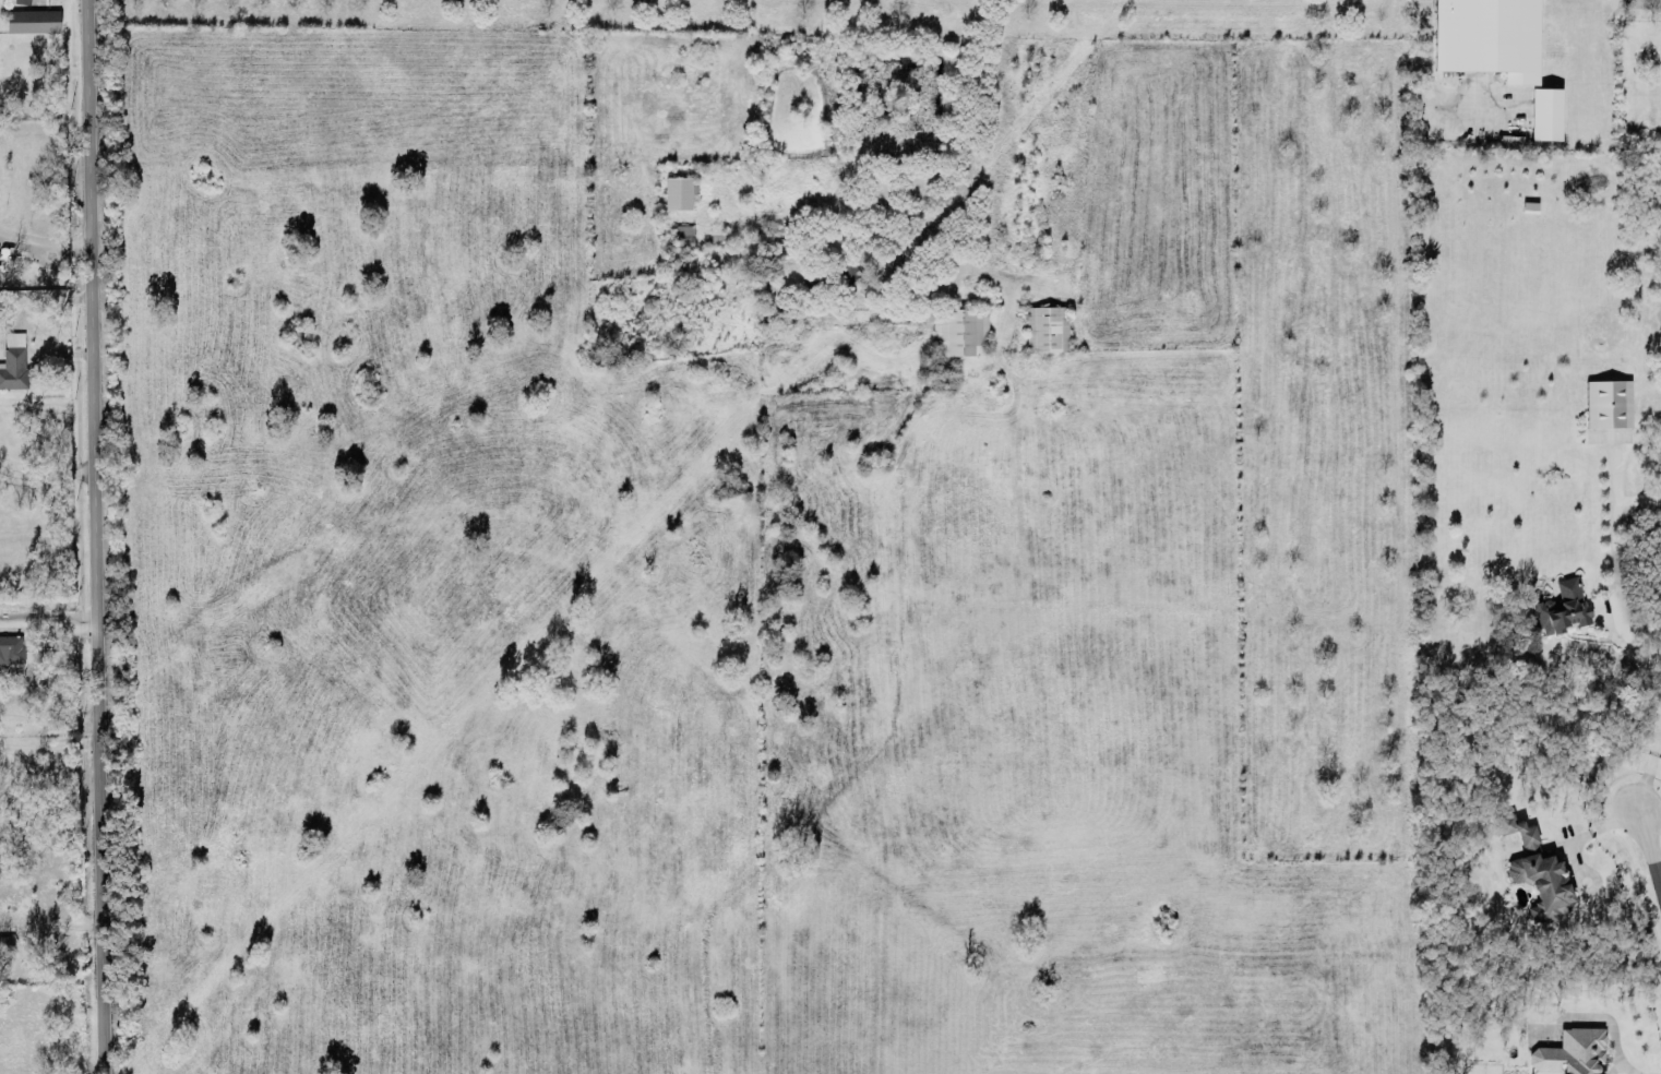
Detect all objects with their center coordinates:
building: (22, 0)
road: (1653, 0)
building: (32, 19)
building: (1487, 38)
road: (1426, 96)
building: (1545, 114)
road: (972, 138)
building: (678, 190)
road: (908, 223)
building: (682, 235)
road: (44, 239)
road: (46, 293)
building: (4, 314)
building: (1045, 326)
building: (959, 330)
building: (13, 359)
building: (1608, 402)
road: (46, 470)
road: (94, 536)
crop: (756, 536)
building: (1562, 602)
road: (47, 623)
building: (11, 646)
road: (1648, 719)
road: (47, 742)
road: (1647, 851)
building: (1535, 867)
road: (1660, 892)
road: (49, 921)
building: (7, 942)
building: (1570, 1051)

